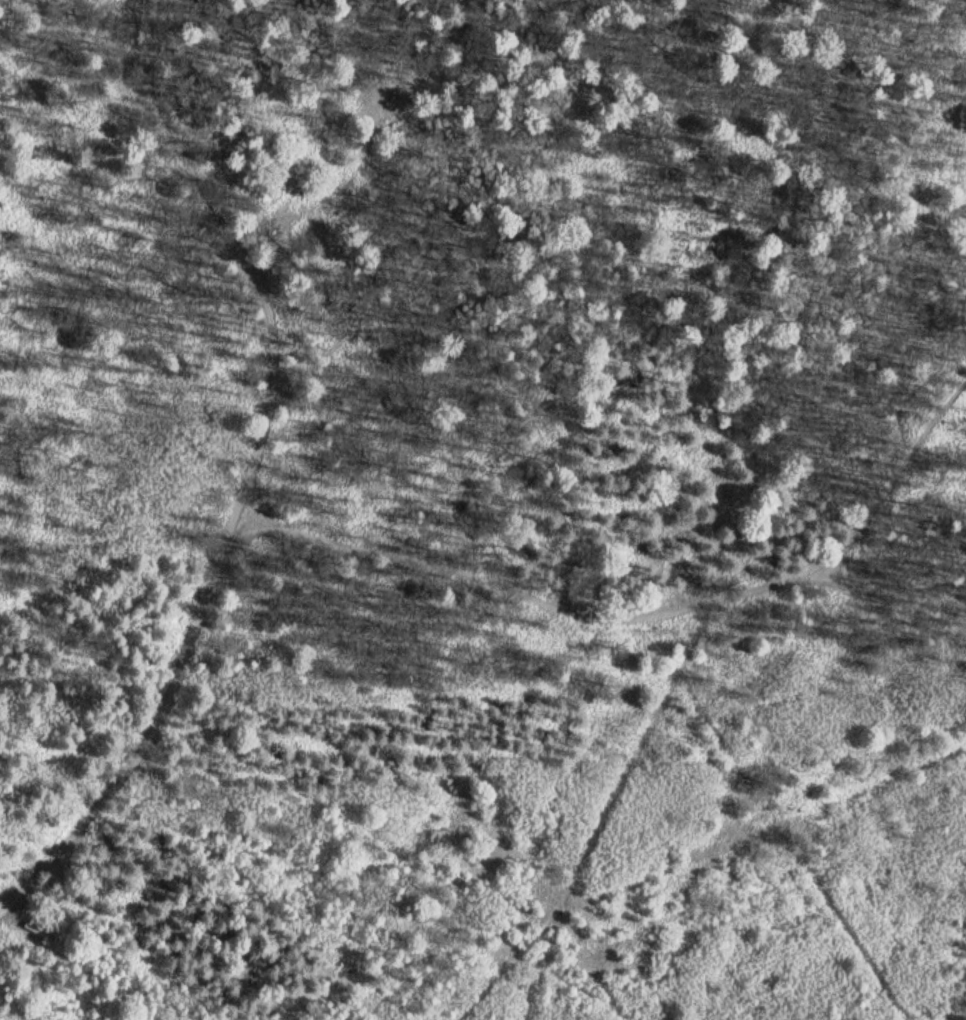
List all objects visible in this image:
road: (249, 473)
road: (256, 507)
road: (246, 536)
road: (616, 620)
building: (39, 931)

